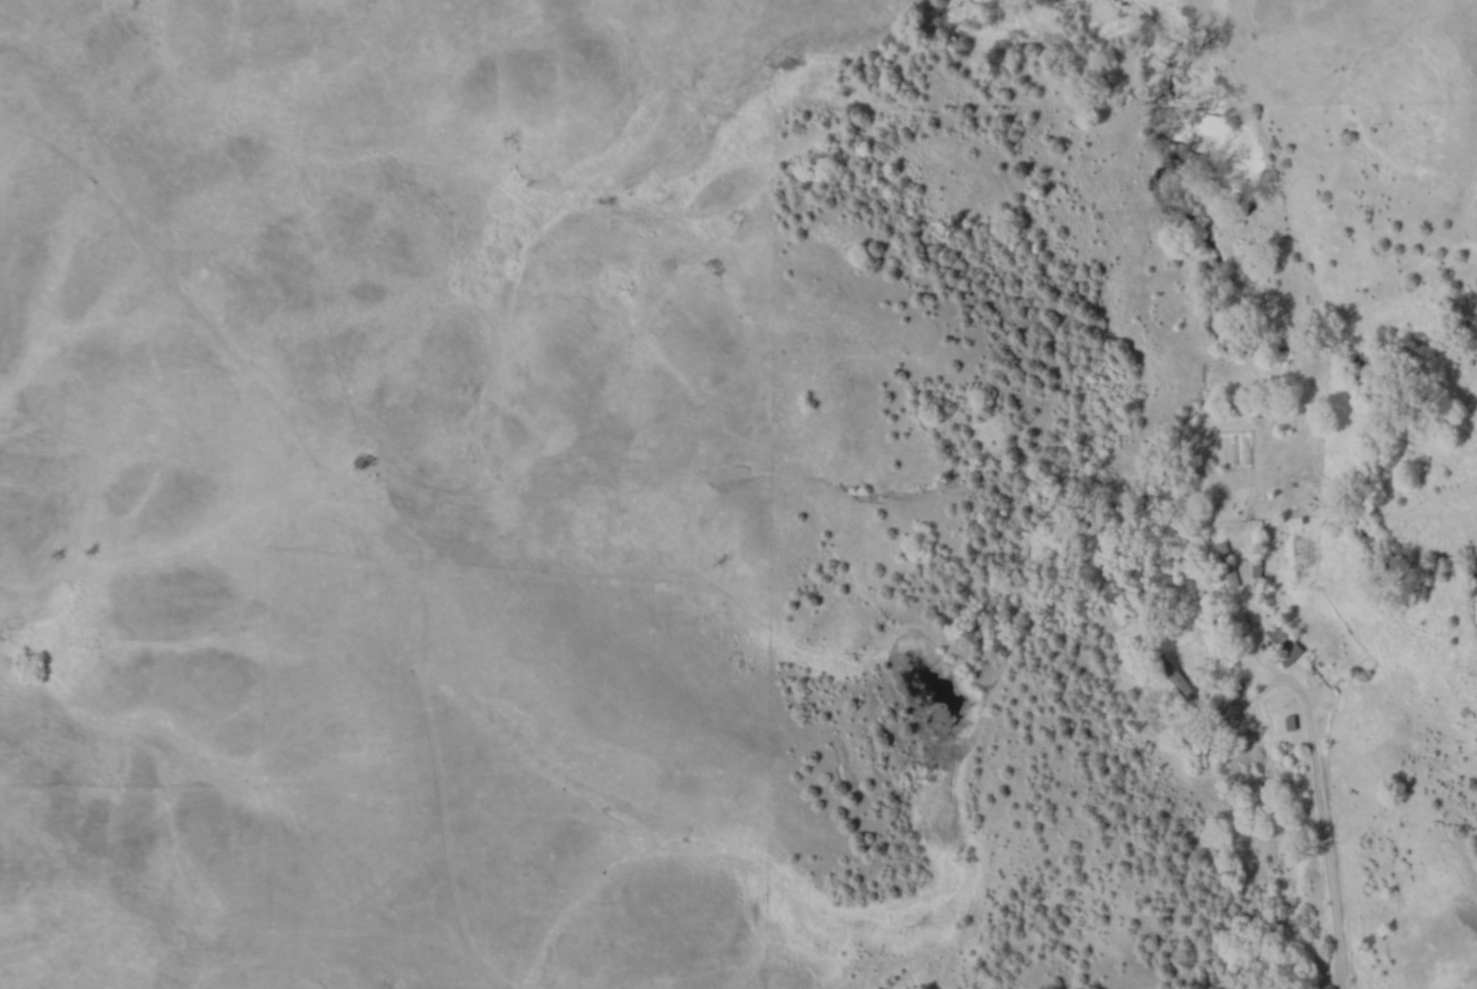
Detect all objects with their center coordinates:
building: (1227, 562)
building: (1257, 564)
building: (1244, 622)
building: (1286, 644)
building: (1177, 674)
road: (1323, 805)

